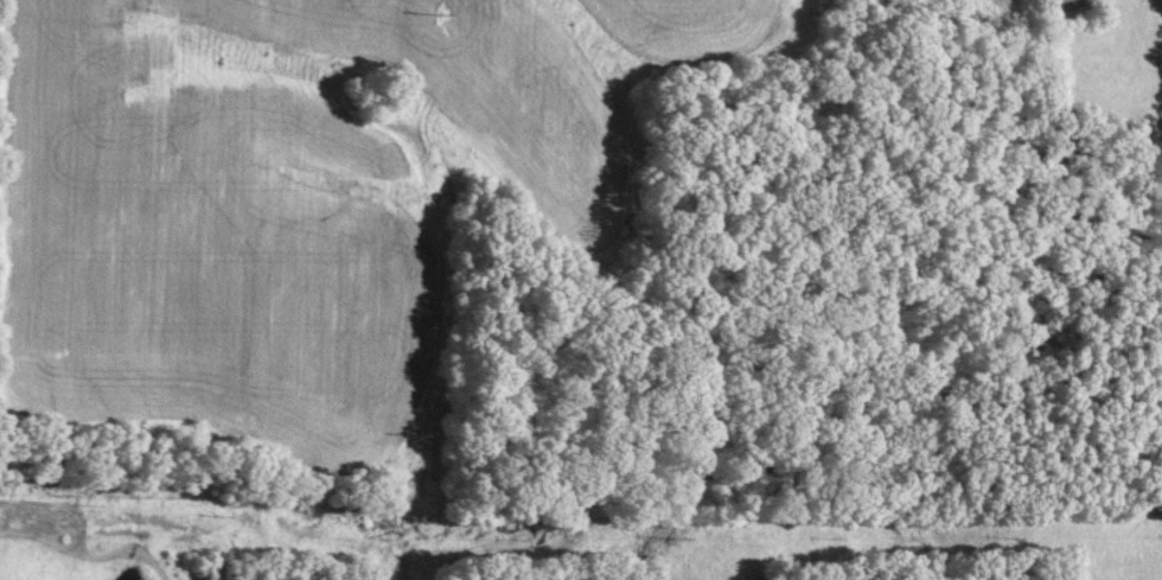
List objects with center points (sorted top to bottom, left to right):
building: (1040, 2)

